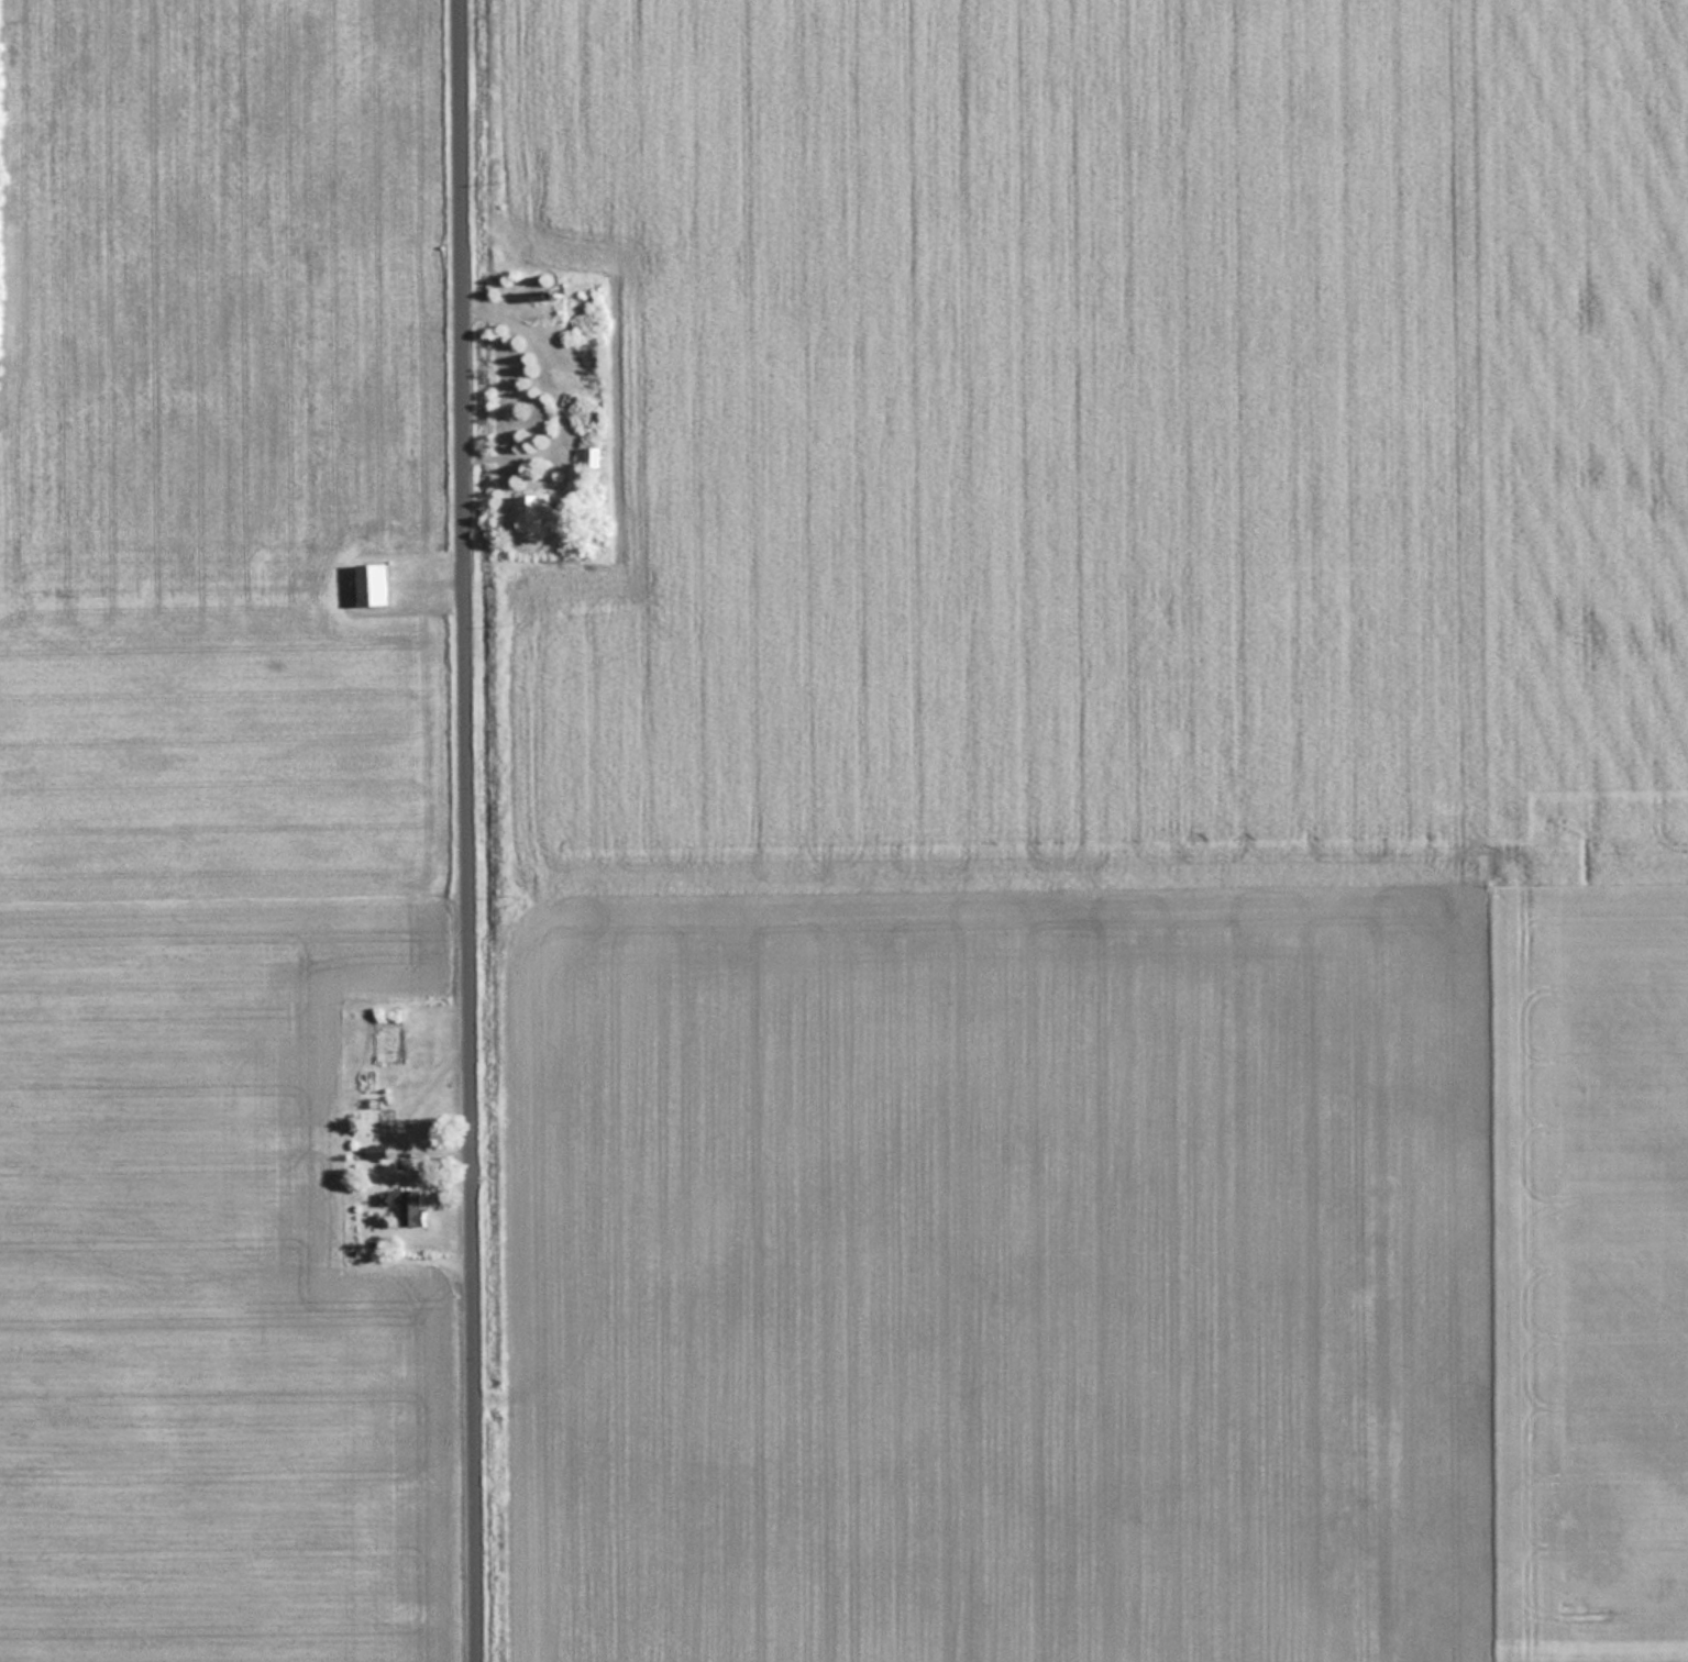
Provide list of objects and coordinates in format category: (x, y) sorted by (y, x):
building: (589, 455)
building: (531, 510)
building: (371, 581)
road: (474, 831)
building: (375, 1151)
building: (406, 1204)

